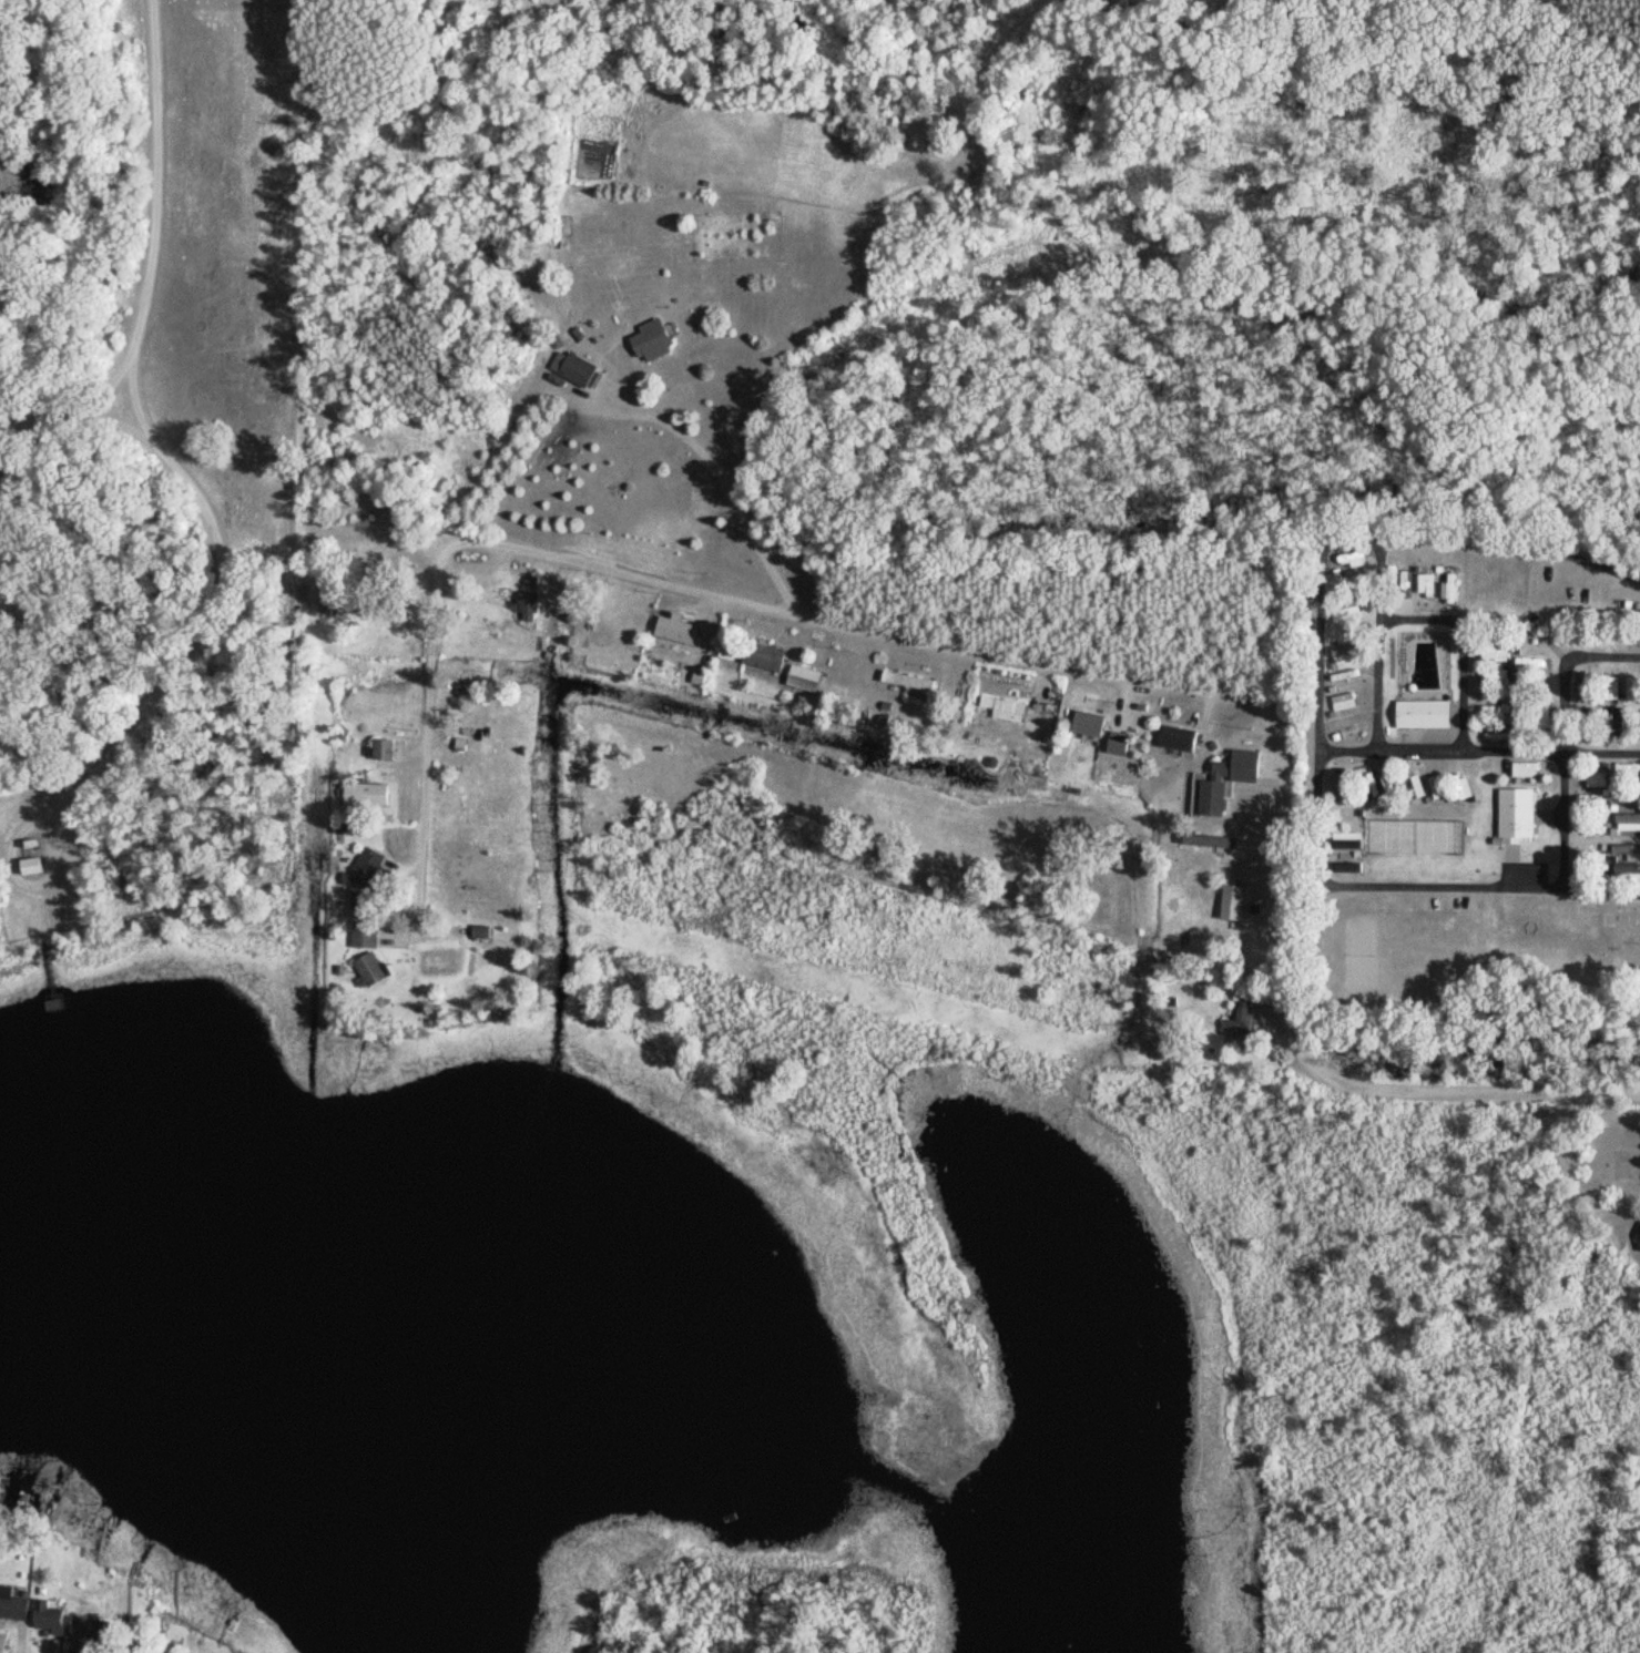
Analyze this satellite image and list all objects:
building: (656, 343)
building: (578, 369)
road: (74, 390)
road: (104, 427)
road: (1585, 482)
road: (172, 487)
road: (722, 487)
road: (1422, 543)
building: (531, 603)
building: (381, 608)
building: (686, 629)
road: (1561, 641)
building: (736, 646)
building: (771, 656)
road: (430, 673)
building: (1341, 676)
building: (809, 680)
road: (1147, 681)
building: (926, 684)
building: (1339, 703)
building: (998, 710)
building: (1419, 714)
building: (1081, 724)
road: (1631, 724)
building: (1174, 739)
building: (1111, 745)
building: (387, 749)
building: (1520, 771)
building: (1626, 773)
building: (1364, 783)
building: (1412, 788)
building: (368, 795)
building: (1622, 797)
building: (1209, 798)
building: (1511, 814)
road: (424, 820)
building: (1346, 843)
building: (38, 867)
building: (366, 882)
building: (369, 936)
building: (485, 936)
building: (374, 970)
building: (1239, 1022)
building: (1639, 1236)
building: (17, 1606)
building: (53, 1619)
building: (95, 1640)
road: (793, 1647)

